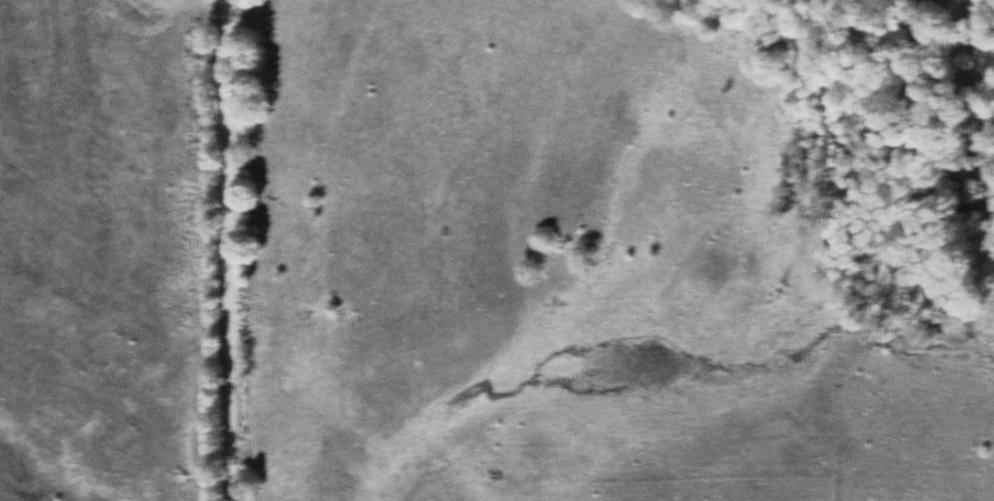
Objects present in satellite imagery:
road: (232, 250)

